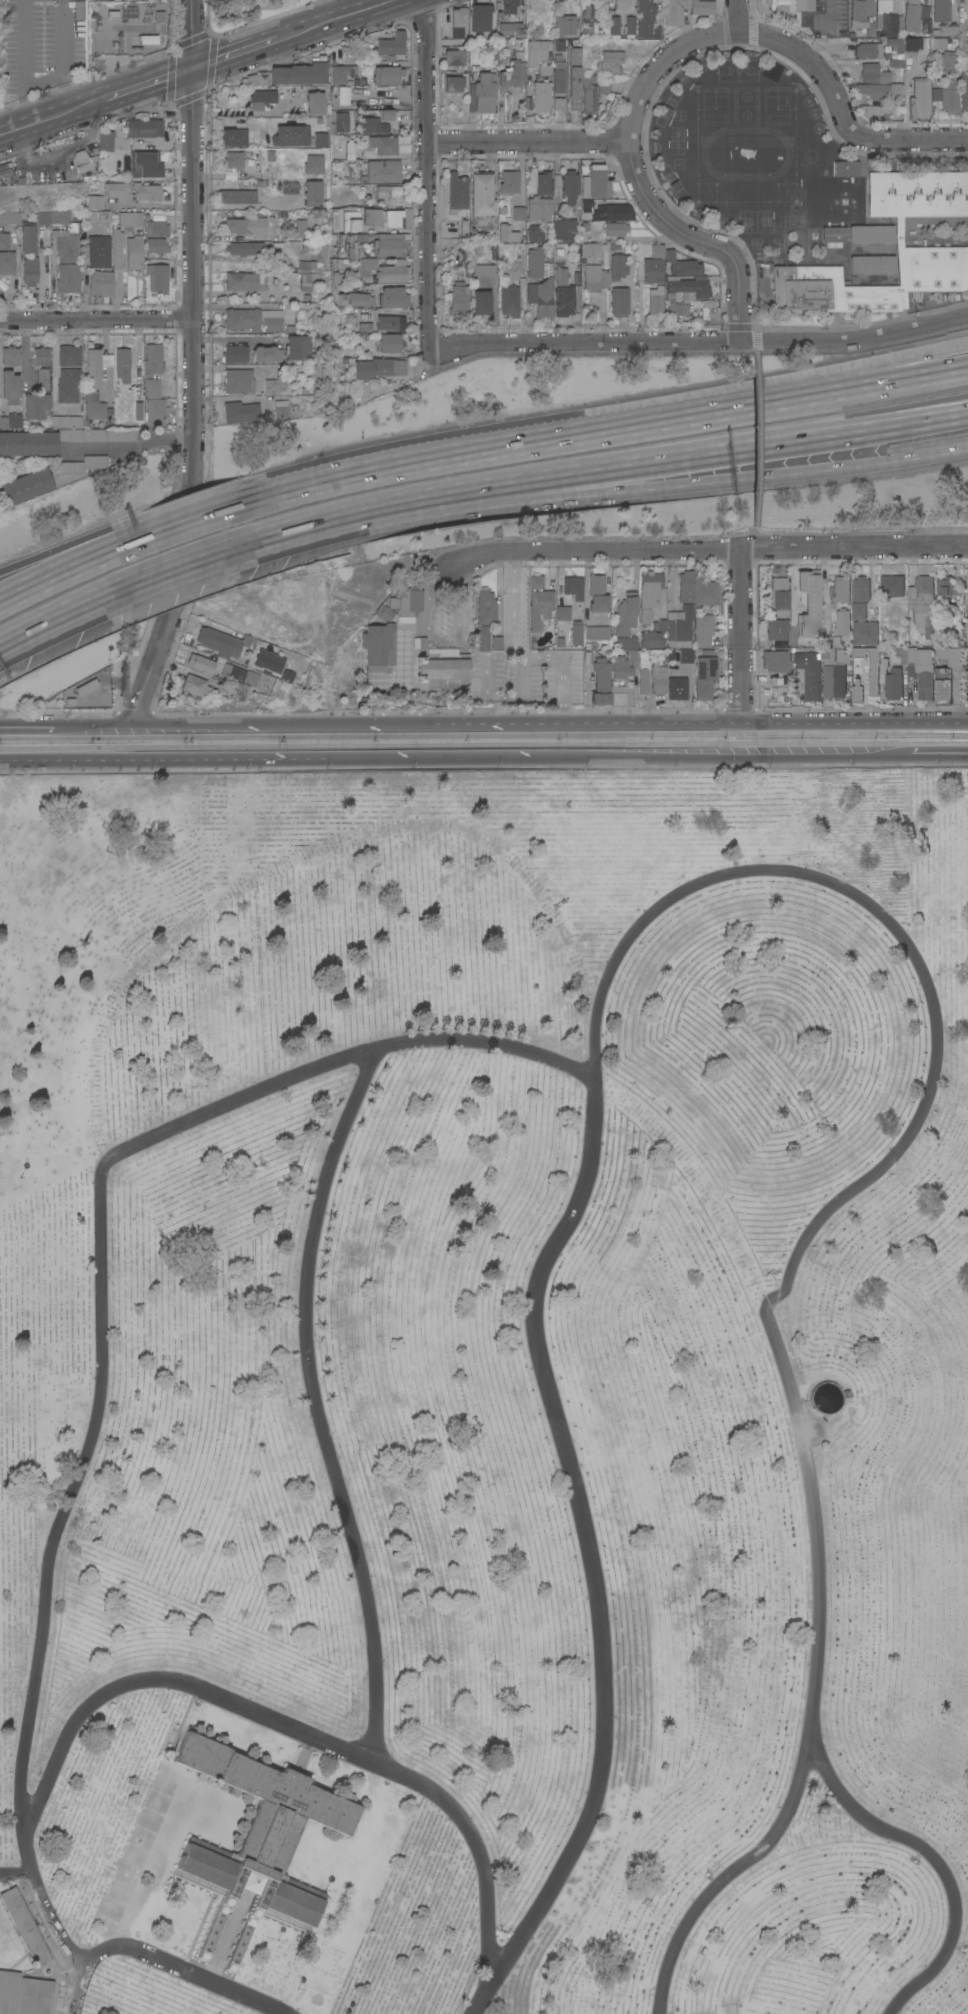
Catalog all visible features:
building: (765, 1)
building: (597, 2)
building: (620, 4)
building: (803, 5)
building: (889, 5)
building: (701, 7)
building: (512, 8)
building: (941, 10)
building: (673, 11)
park: (248, 12)
building: (964, 12)
road: (738, 16)
building: (861, 16)
building: (916, 16)
road: (345, 17)
building: (480, 17)
building: (644, 17)
building: (457, 20)
building: (584, 20)
building: (888, 23)
building: (613, 25)
building: (628, 25)
building: (564, 26)
building: (510, 30)
building: (946, 30)
road: (193, 34)
building: (148, 39)
building: (939, 42)
building: (391, 44)
building: (911, 44)
building: (894, 48)
building: (870, 50)
road: (242, 51)
building: (534, 51)
road: (65, 55)
building: (454, 57)
building: (608, 62)
building: (946, 62)
road: (21, 63)
building: (895, 63)
traffic signals: (193, 68)
building: (543, 69)
building: (300, 71)
building: (512, 71)
building: (341, 74)
building: (387, 74)
building: (557, 77)
building: (571, 77)
building: (254, 79)
road: (152, 82)
building: (453, 83)
building: (877, 83)
building: (964, 90)
building: (592, 91)
building: (482, 94)
building: (947, 95)
building: (540, 96)
building: (262, 98)
building: (920, 99)
building: (315, 102)
building: (526, 103)
building: (557, 104)
road: (74, 109)
building: (875, 110)
road: (247, 112)
road: (841, 113)
building: (385, 114)
building: (885, 117)
road: (250, 121)
building: (341, 121)
building: (372, 125)
building: (143, 127)
road: (19, 129)
building: (290, 136)
building: (233, 137)
building: (105, 140)
building: (321, 140)
building: (382, 144)
road: (615, 144)
building: (349, 149)
road: (60, 154)
building: (270, 155)
building: (234, 159)
building: (83, 160)
building: (314, 164)
building: (143, 165)
building: (846, 168)
building: (383, 171)
road: (428, 171)
building: (509, 182)
building: (594, 182)
building: (544, 183)
building: (570, 186)
building: (290, 187)
building: (116, 189)
building: (147, 191)
building: (457, 191)
building: (313, 192)
building: (387, 192)
building: (482, 194)
building: (237, 196)
building: (822, 200)
building: (94, 201)
building: (846, 203)
road: (246, 205)
building: (538, 207)
building: (607, 209)
building: (518, 213)
building: (10, 217)
building: (381, 217)
building: (129, 219)
building: (246, 225)
building: (156, 227)
building: (562, 228)
building: (615, 228)
building: (299, 229)
building: (898, 231)
building: (507, 233)
building: (533, 233)
building: (871, 234)
building: (834, 235)
building: (29, 237)
building: (99, 239)
building: (4, 240)
road: (695, 242)
building: (387, 244)
building: (117, 247)
building: (243, 247)
building: (65, 248)
building: (592, 249)
building: (656, 250)
building: (134, 252)
building: (669, 255)
building: (7, 260)
building: (535, 261)
building: (871, 264)
building: (306, 265)
building: (362, 266)
building: (617, 266)
building: (685, 267)
building: (155, 268)
building: (484, 269)
building: (652, 270)
building: (29, 271)
building: (390, 272)
building: (592, 276)
building: (336, 277)
building: (602, 278)
building: (242, 281)
building: (304, 281)
building: (100, 283)
building: (687, 285)
building: (565, 292)
building: (541, 296)
building: (669, 296)
building: (391, 297)
building: (353, 299)
building: (458, 299)
building: (655, 300)
building: (509, 301)
building: (619, 301)
building: (481, 302)
building: (677, 308)
building: (709, 315)
building: (254, 319)
road: (98, 320)
building: (390, 321)
building: (355, 327)
road: (230, 337)
building: (385, 342)
road: (699, 343)
building: (299, 347)
road: (754, 351)
building: (236, 353)
building: (267, 354)
building: (10, 355)
building: (69, 355)
building: (153, 360)
building: (122, 364)
building: (36, 366)
building: (376, 367)
building: (94, 369)
building: (238, 380)
road: (855, 380)
building: (68, 384)
building: (10, 386)
building: (271, 386)
road: (855, 386)
building: (153, 402)
road: (197, 403)
building: (36, 405)
building: (94, 406)
building: (282, 409)
building: (241, 411)
building: (11, 420)
building: (67, 421)
road: (754, 431)
building: (98, 434)
road: (570, 435)
building: (29, 443)
road: (132, 445)
road: (642, 462)
building: (83, 464)
road: (317, 474)
building: (27, 485)
road: (313, 487)
road: (643, 488)
road: (192, 501)
road: (754, 524)
road: (185, 529)
road: (271, 539)
road: (73, 541)
road: (702, 551)
road: (178, 568)
road: (70, 580)
building: (965, 581)
building: (534, 582)
building: (891, 585)
building: (966, 585)
building: (685, 586)
building: (571, 587)
building: (945, 587)
building: (649, 588)
building: (841, 588)
building: (861, 588)
building: (704, 589)
building: (596, 593)
building: (780, 595)
building: (966, 597)
building: (401, 603)
building: (922, 603)
building: (483, 607)
building: (538, 607)
building: (966, 609)
building: (859, 611)
building: (379, 613)
building: (562, 613)
building: (625, 613)
building: (645, 615)
road: (66, 619)
building: (814, 619)
building: (842, 622)
building: (680, 627)
building: (703, 629)
building: (777, 631)
building: (576, 632)
building: (595, 632)
building: (865, 632)
road: (509, 634)
road: (741, 634)
building: (479, 638)
building: (651, 639)
road: (438, 640)
building: (967, 640)
building: (223, 641)
building: (492, 642)
building: (627, 642)
building: (374, 646)
building: (686, 656)
building: (840, 656)
road: (562, 657)
building: (269, 660)
building: (776, 660)
building: (202, 664)
building: (440, 668)
building: (919, 668)
building: (832, 669)
building: (946, 672)
building: (643, 673)
building: (873, 673)
building: (241, 674)
building: (704, 676)
building: (619, 677)
building: (658, 678)
building: (812, 680)
building: (891, 680)
building: (600, 681)
building: (196, 685)
building: (87, 686)
building: (677, 688)
road: (504, 697)
road: (854, 721)
road: (434, 723)
road: (26, 726)
road: (90, 726)
railway: (484, 735)
railway: (483, 745)
road: (917, 755)
road: (803, 756)
road: (493, 758)
road: (122, 761)
road: (799, 872)
road: (102, 1318)
park: (484, 1393)
road: (318, 1406)
road: (293, 1729)
building: (258, 1837)
road: (934, 1858)
road: (16, 1872)
building: (24, 1925)
road: (164, 1960)
building: (24, 1994)

